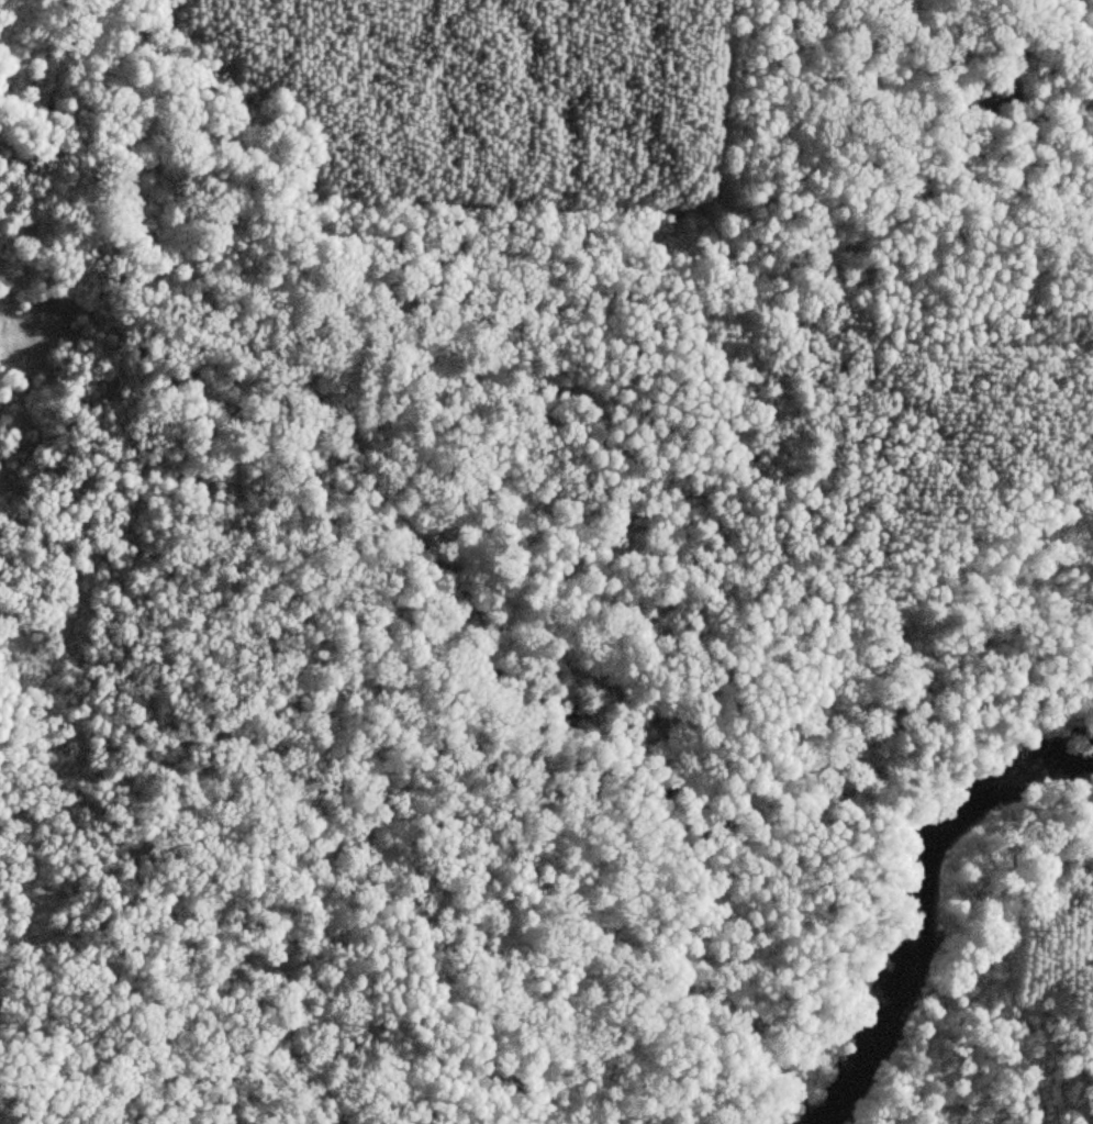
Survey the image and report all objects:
river: (921, 904)

